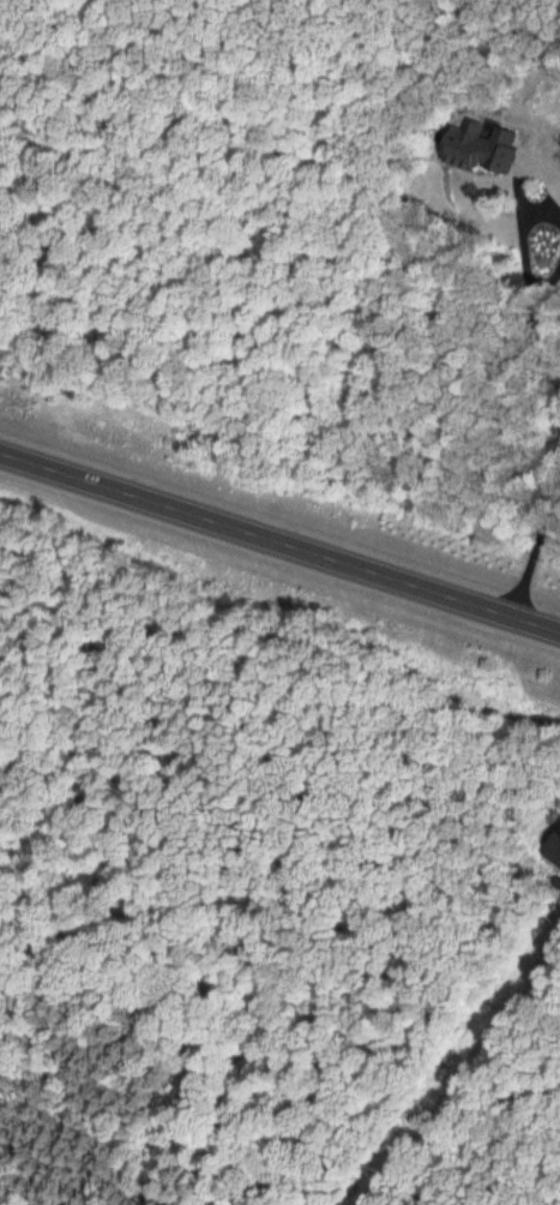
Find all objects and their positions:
building: (469, 149)
road: (279, 540)

